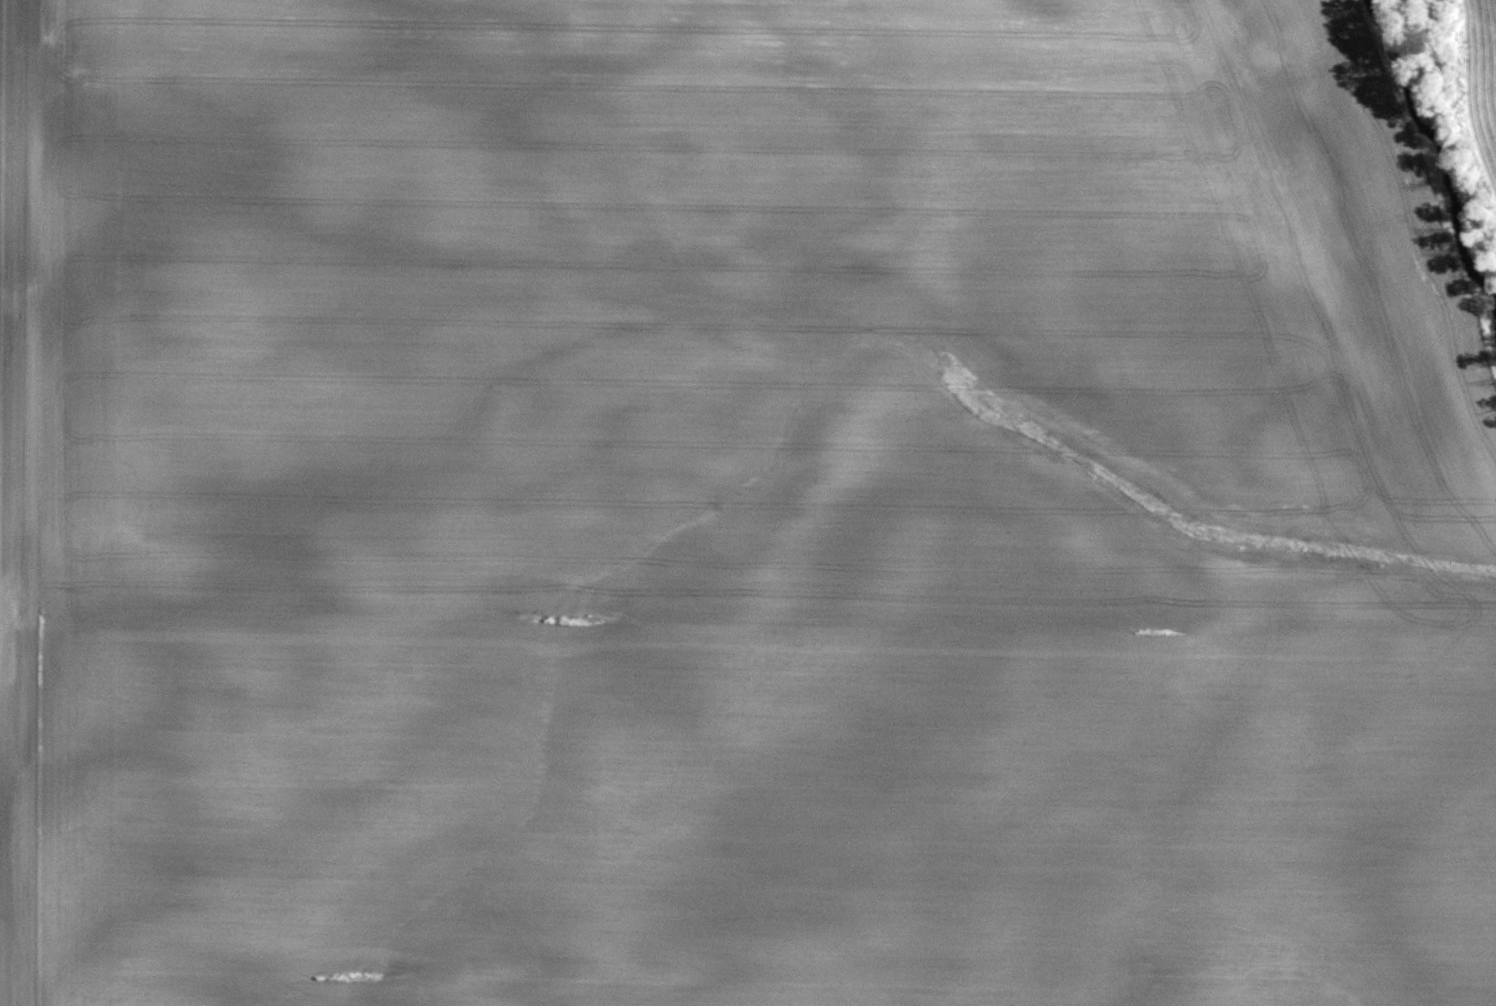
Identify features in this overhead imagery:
crop: (1479, 84)
crop: (738, 508)

